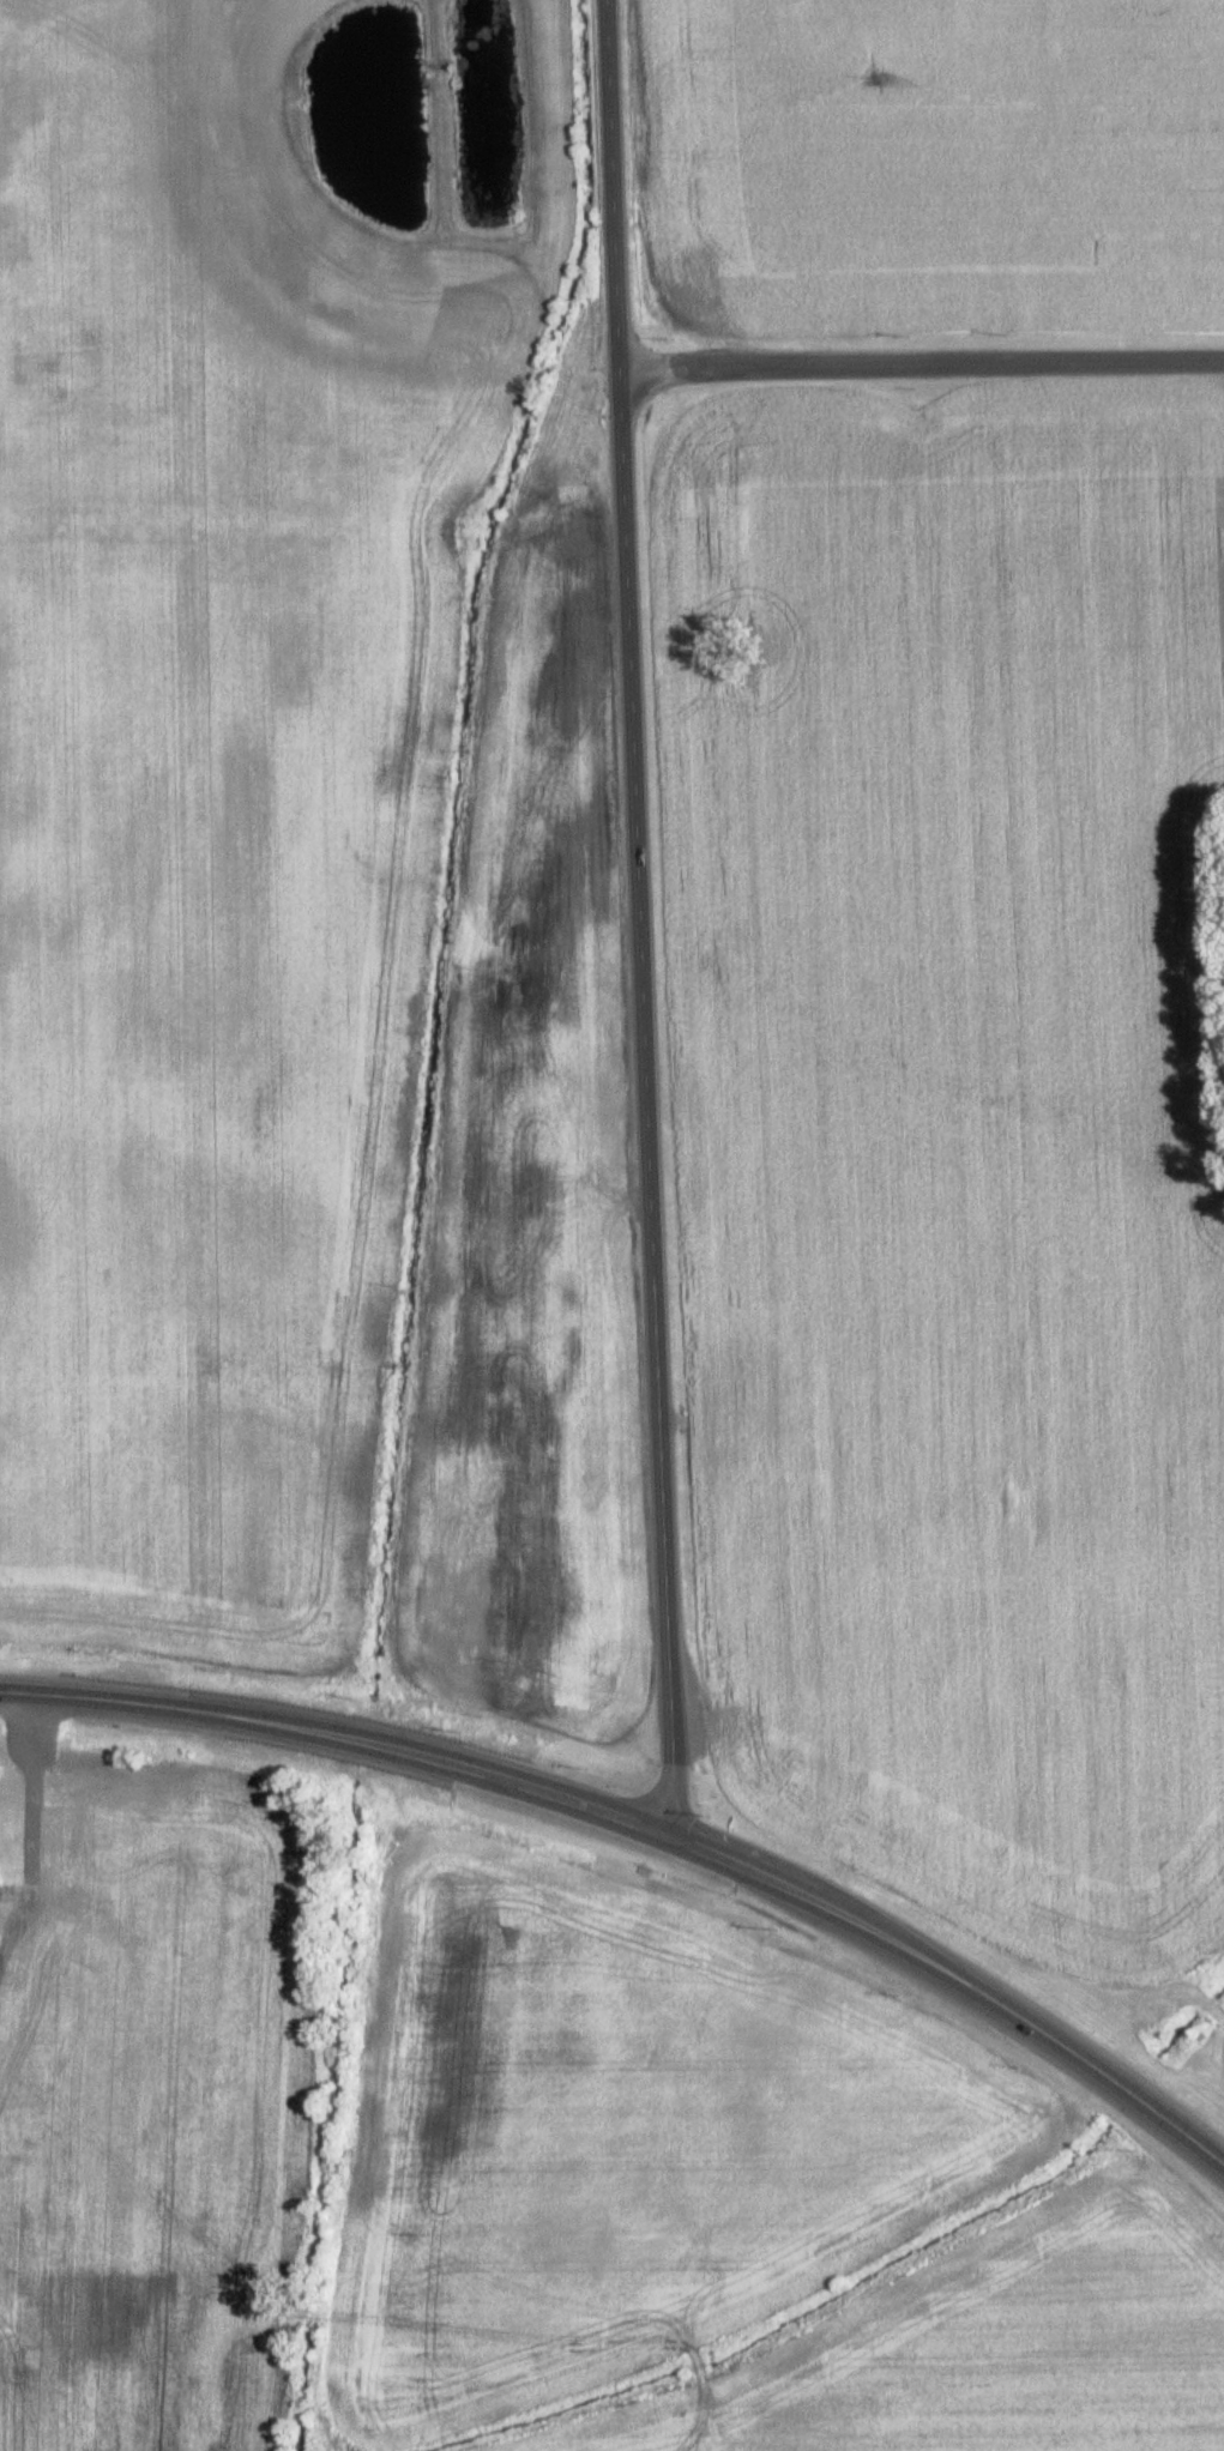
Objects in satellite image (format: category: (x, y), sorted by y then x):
road: (609, 179)
road: (919, 363)
road: (640, 1094)
road: (338, 1729)
building: (846, 1757)
road: (958, 1970)

